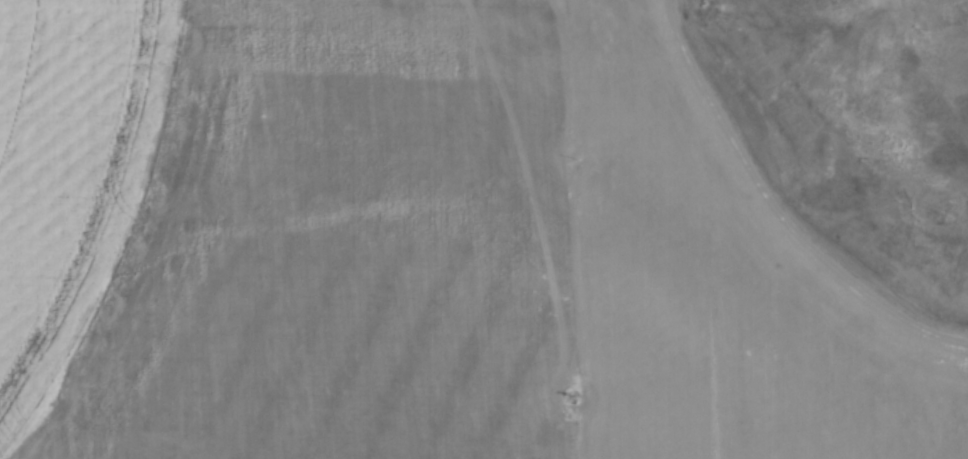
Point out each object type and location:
crop: (422, 245)

